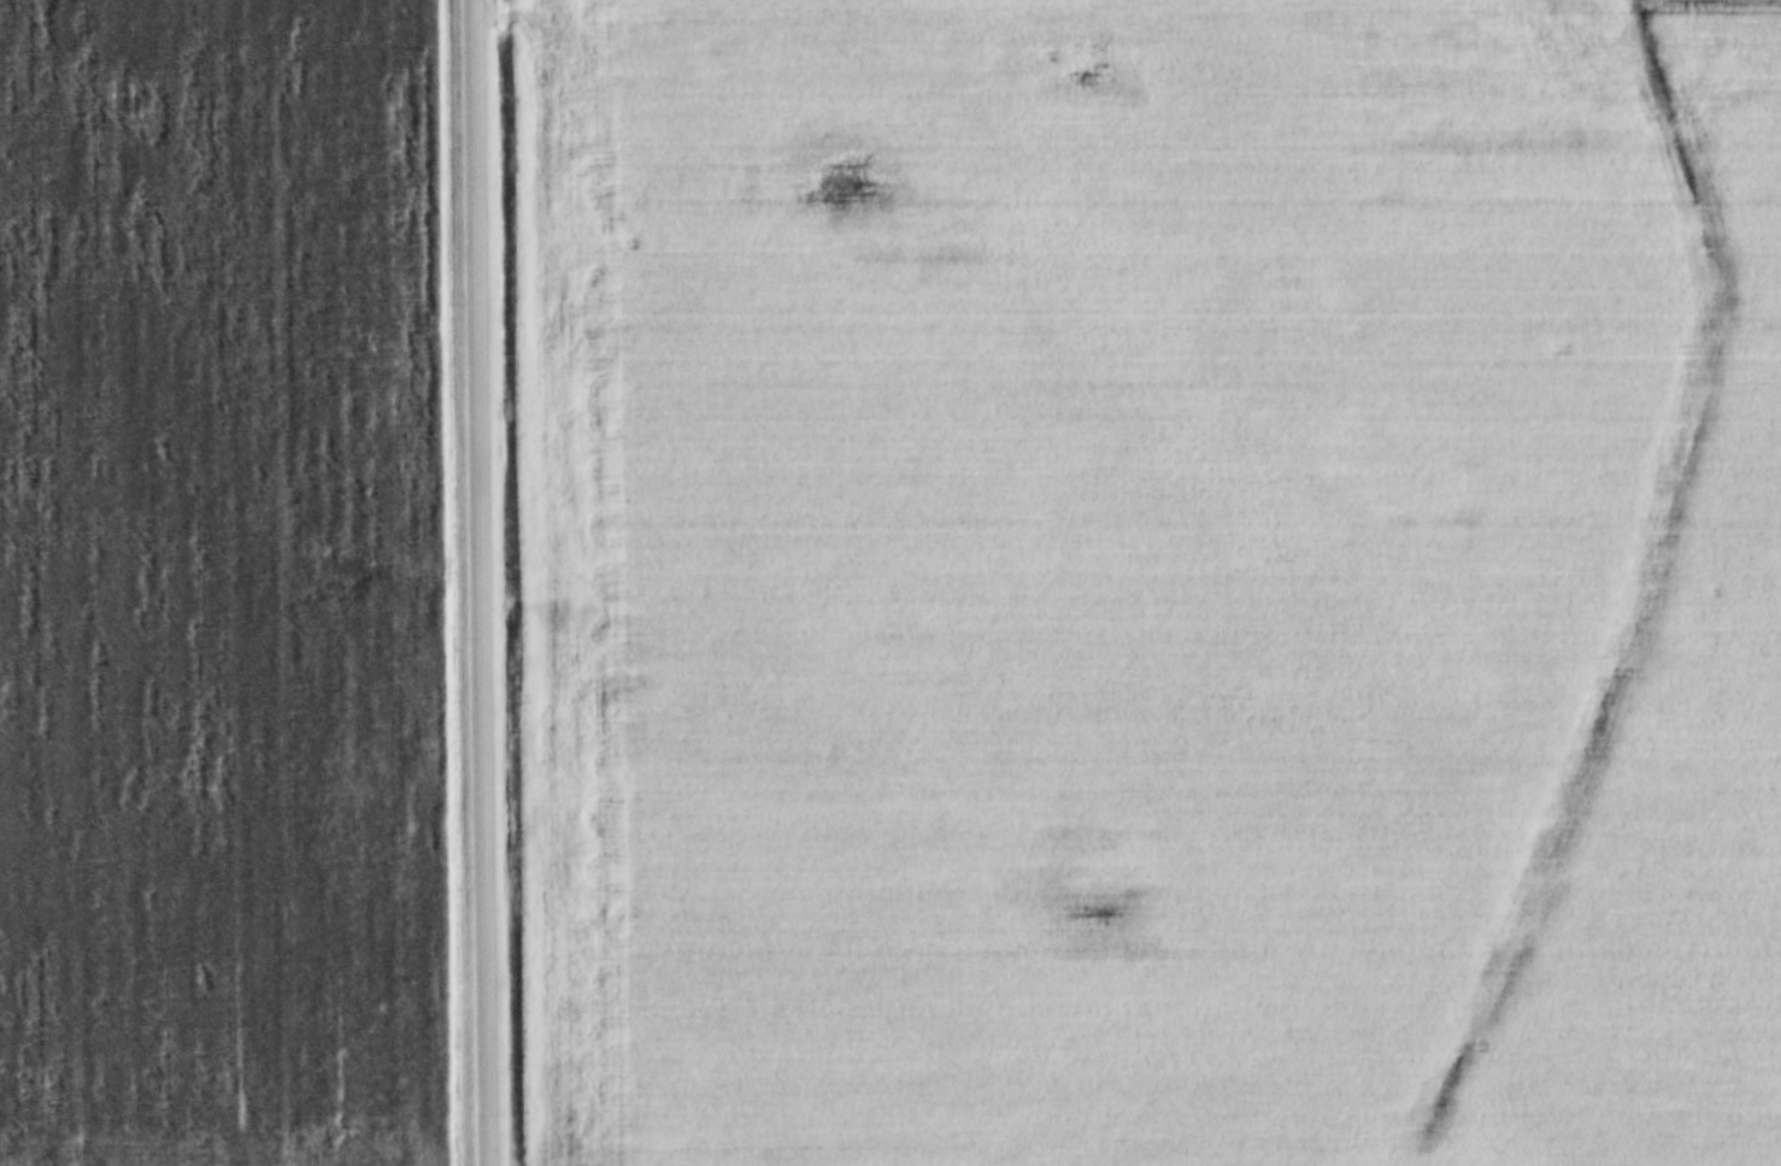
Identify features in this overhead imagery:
road: (484, 583)
crop: (218, 585)

